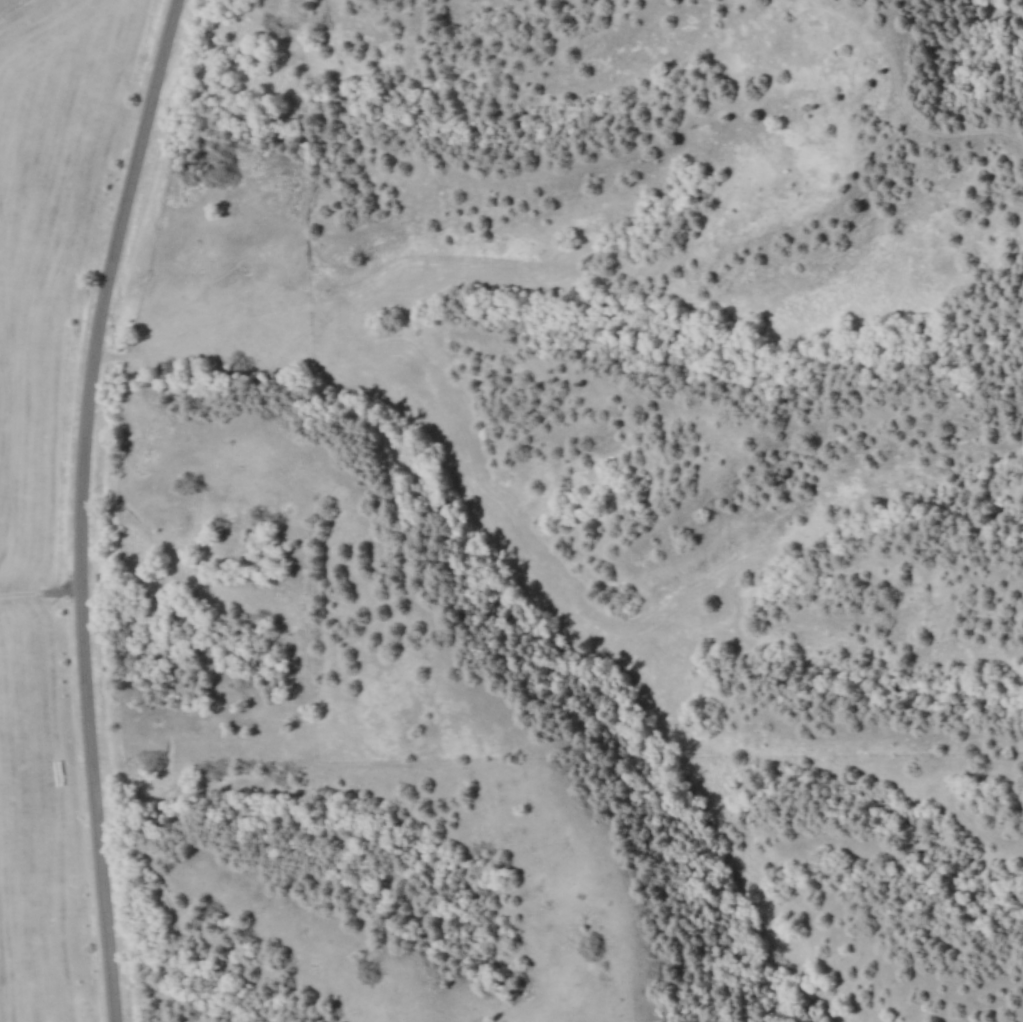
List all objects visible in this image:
road: (79, 506)

